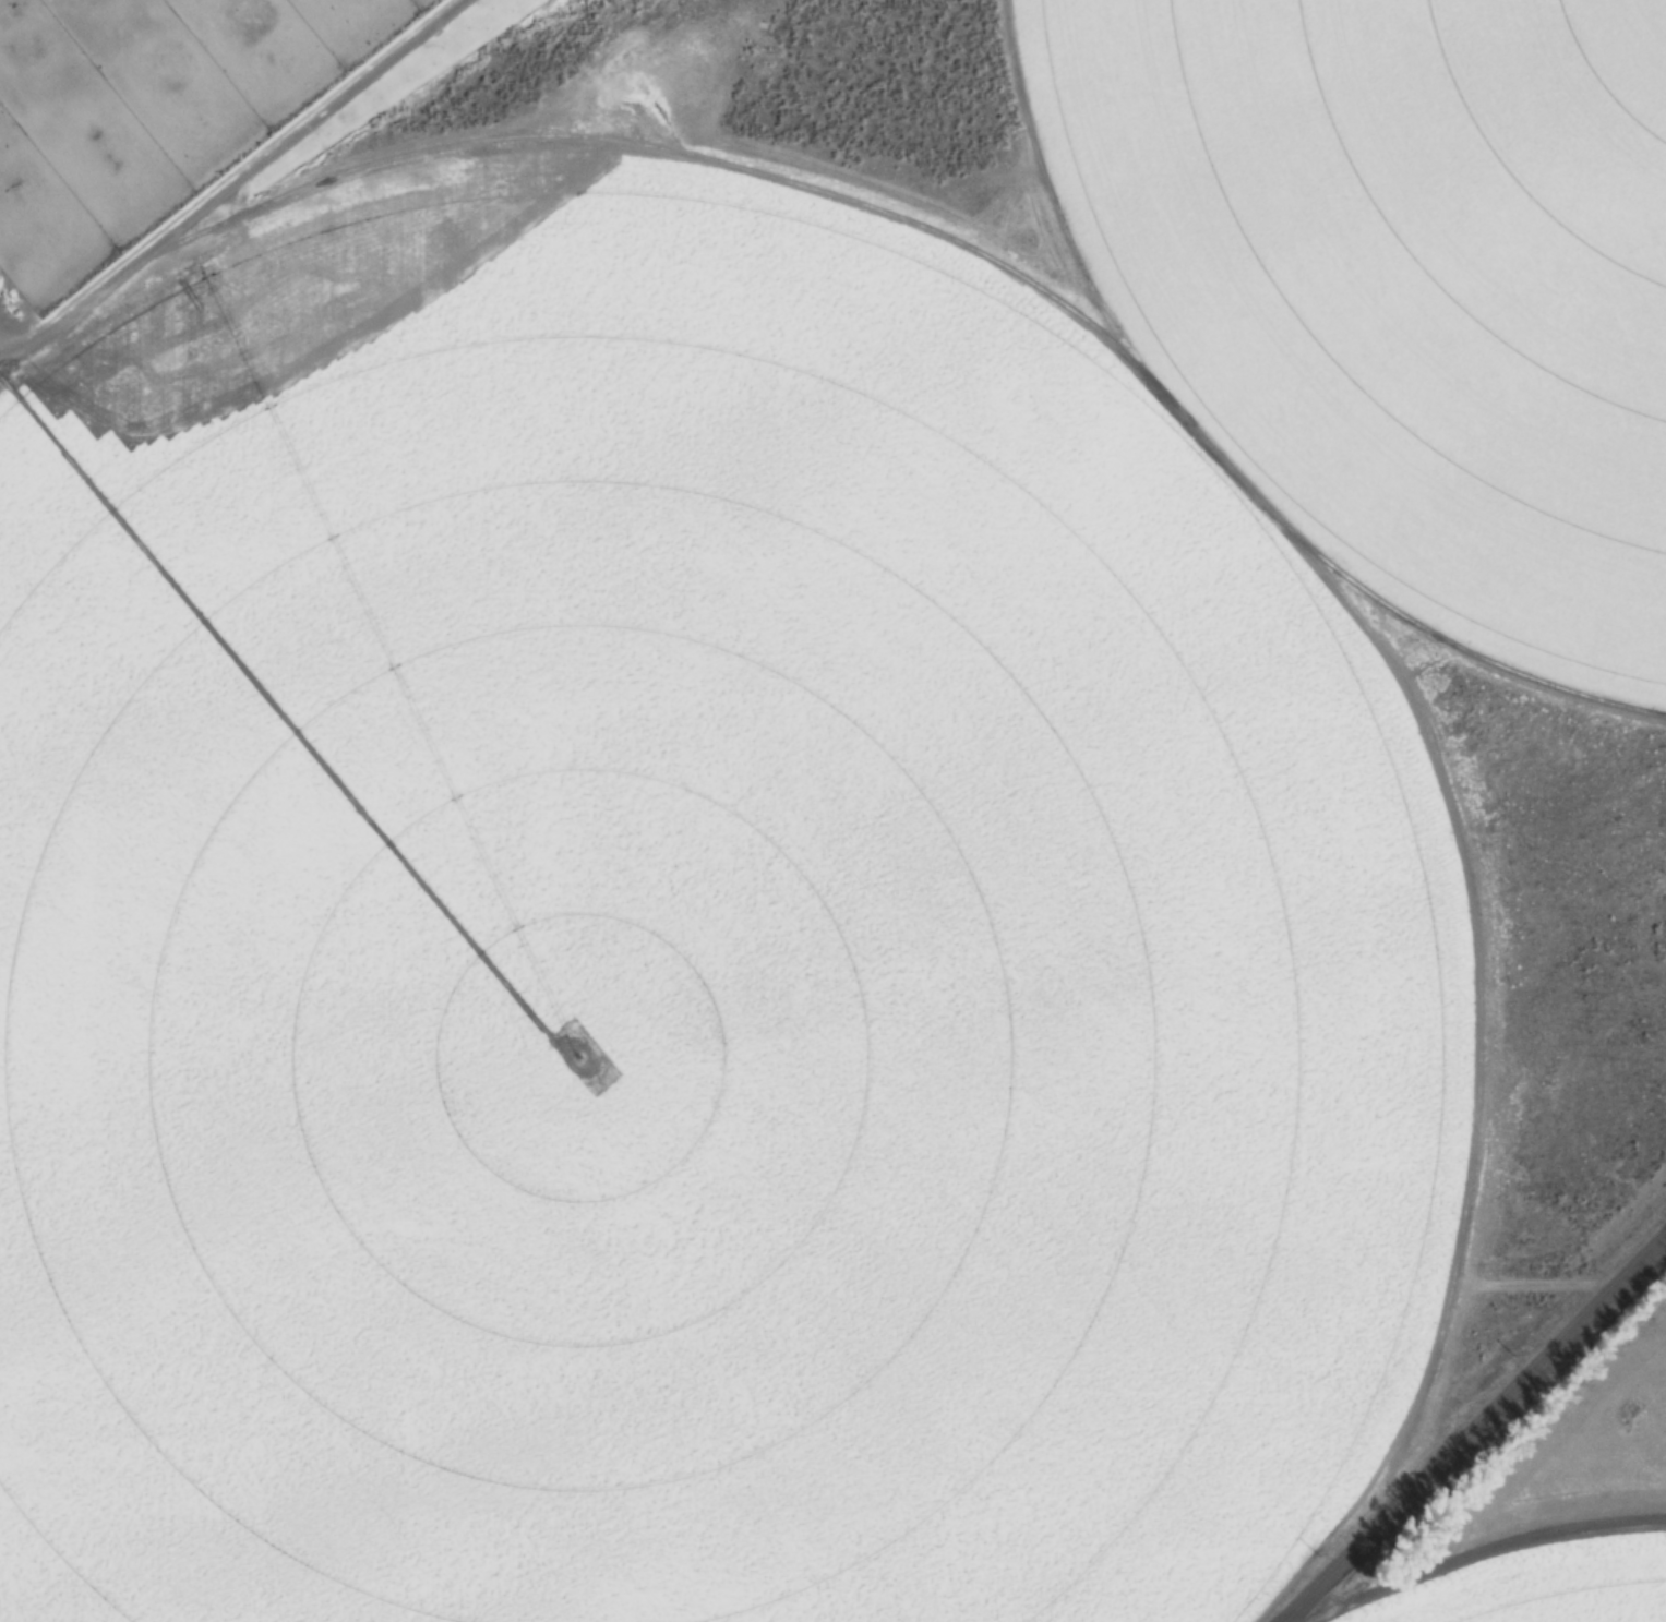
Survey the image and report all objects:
building: (606, 104)
road: (1478, 1429)

